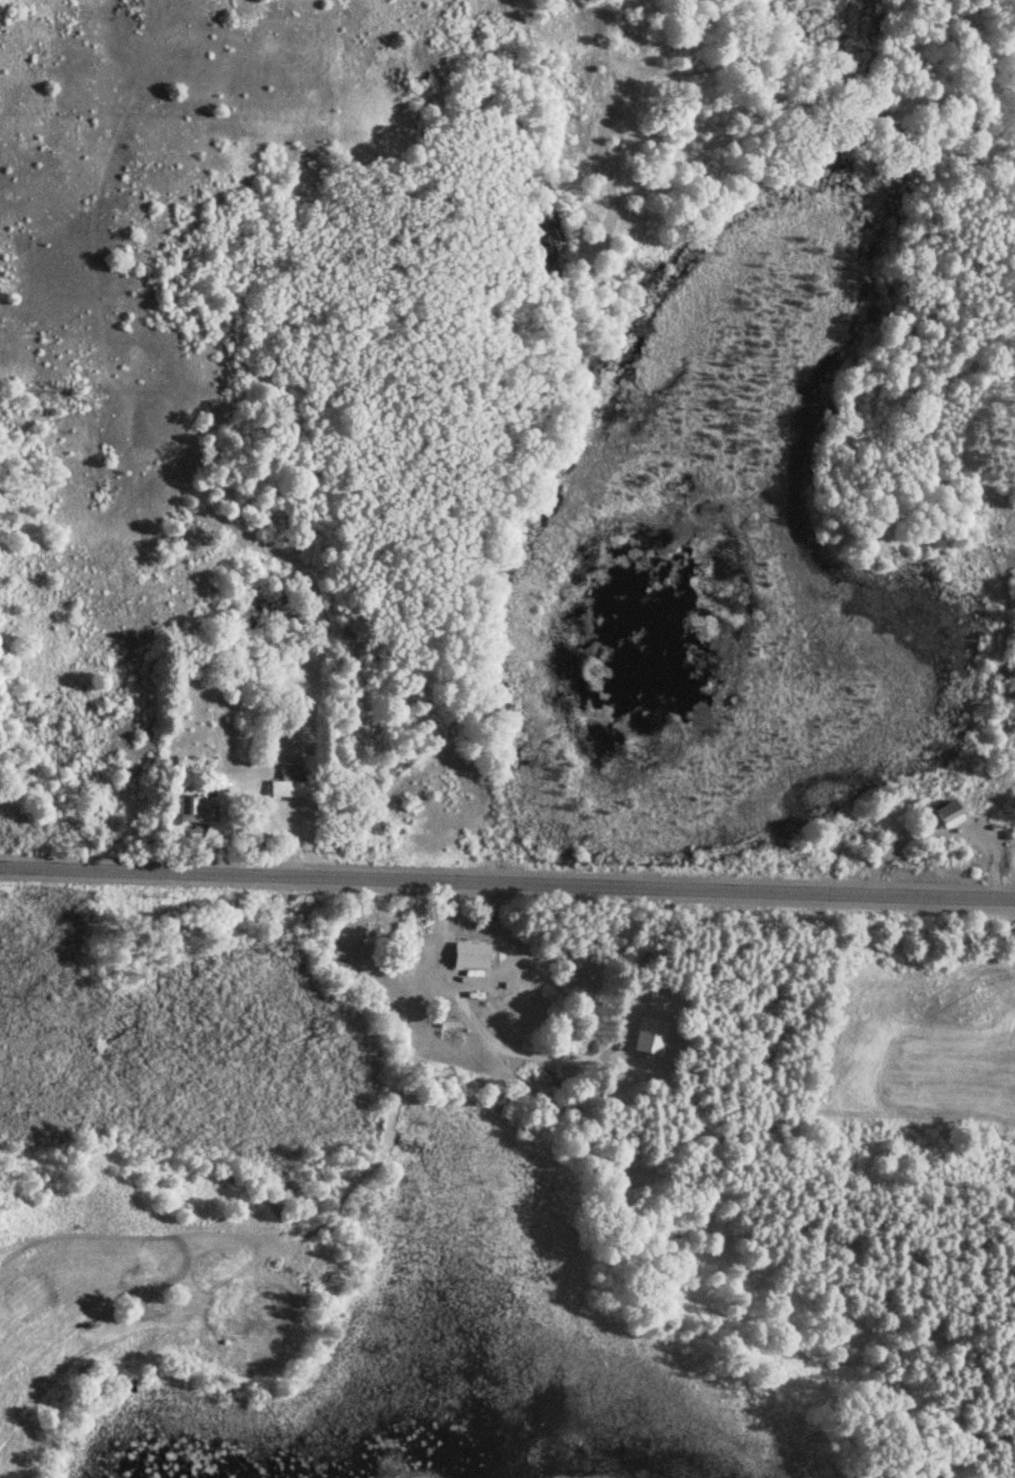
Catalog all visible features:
building: (291, 784)
building: (196, 809)
building: (945, 815)
road: (507, 886)
building: (468, 954)
building: (447, 1015)

